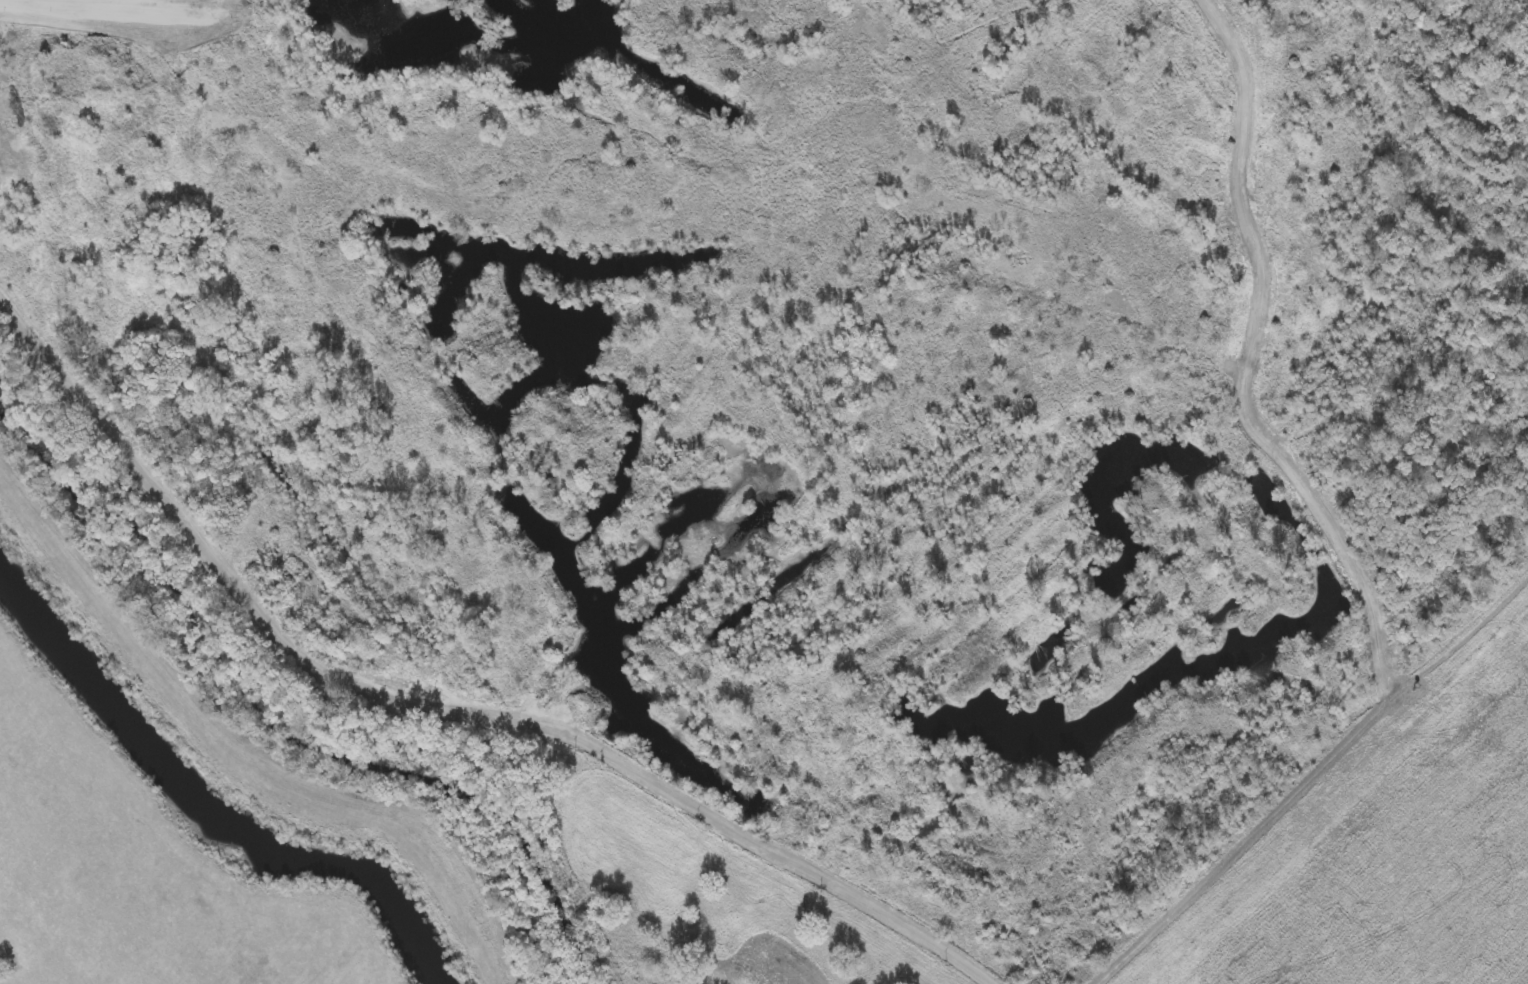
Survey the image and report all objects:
road: (346, 682)
road: (918, 925)

